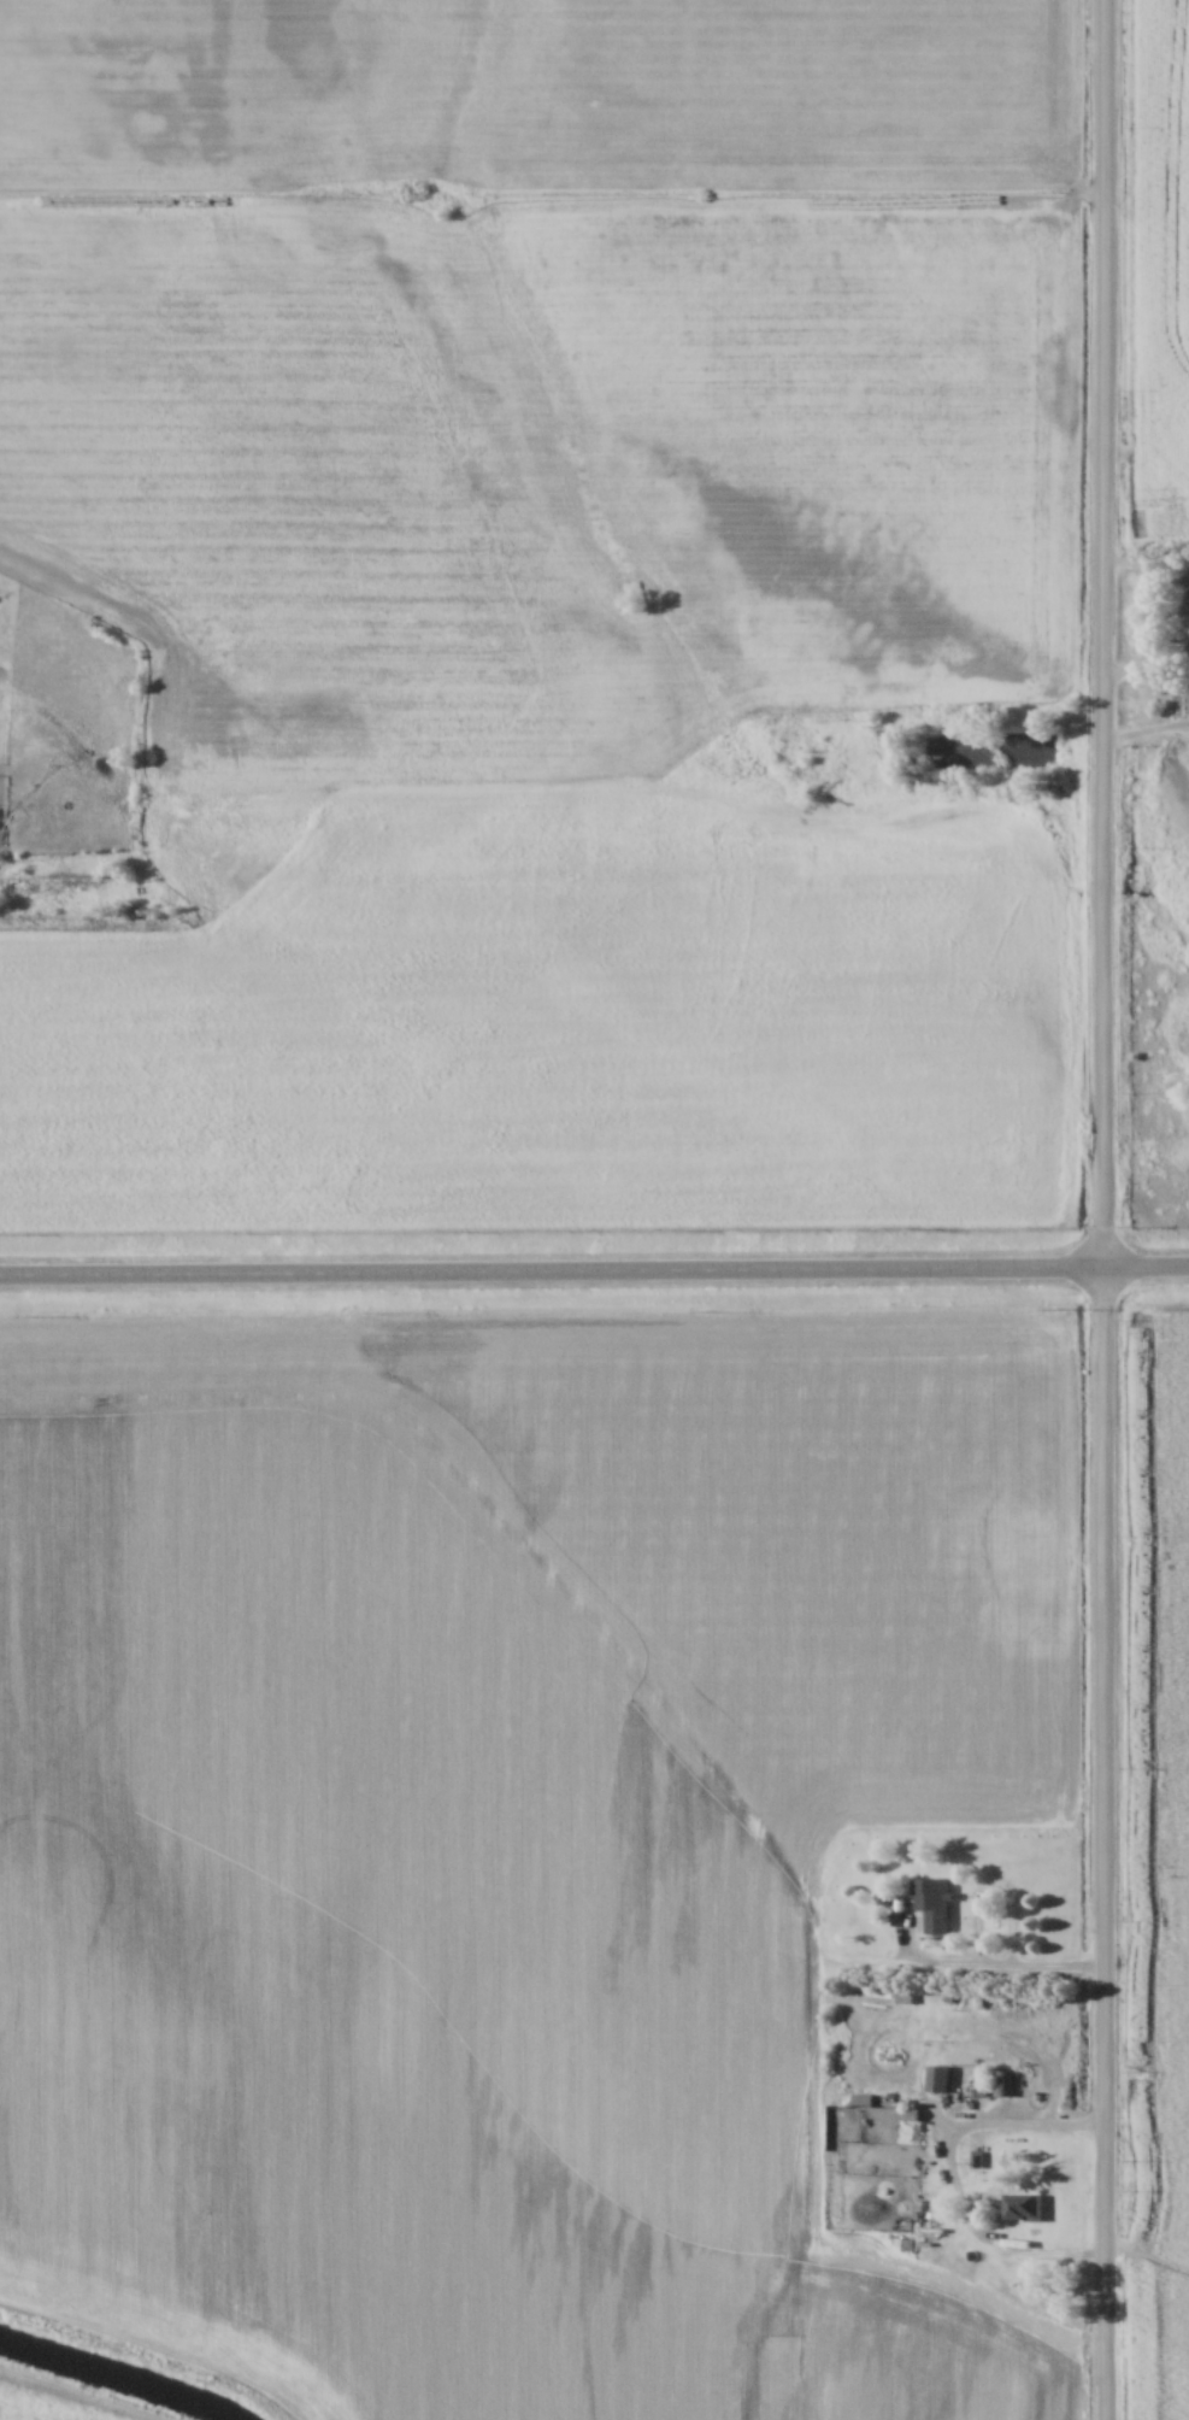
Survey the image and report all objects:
crop: (1160, 253)
crop: (540, 598)
road: (1184, 621)
road: (1103, 1210)
road: (594, 1271)
crop: (499, 1832)
crop: (1164, 1875)
building: (931, 1902)
road: (972, 1954)
road: (1060, 1968)
building: (905, 1997)
building: (936, 2078)
building: (1002, 2085)
building: (861, 2099)
building: (906, 2114)
building: (975, 2160)
road: (950, 2173)
building: (1020, 2207)

